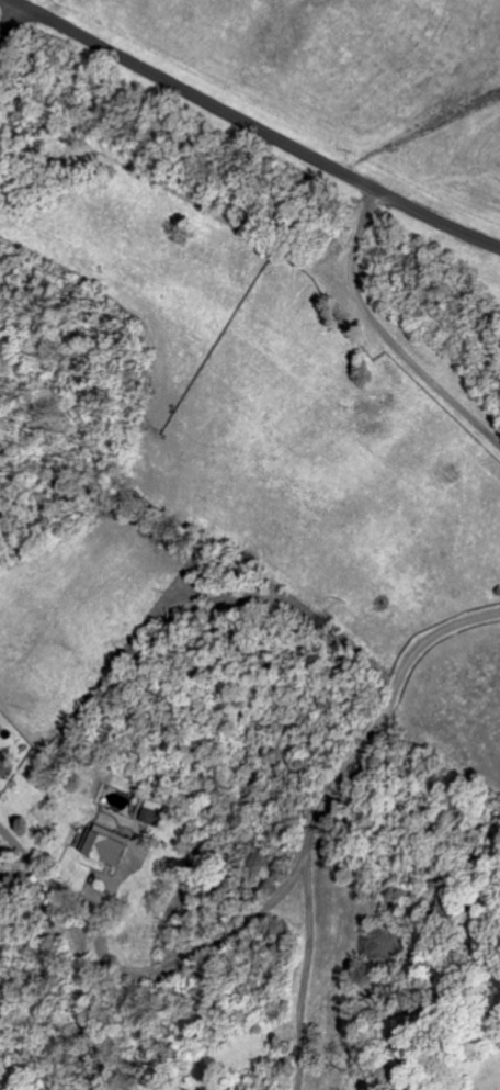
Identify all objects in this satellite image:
road: (13, 32)
road: (255, 127)
road: (387, 336)
building: (154, 813)
road: (316, 838)
building: (111, 846)

